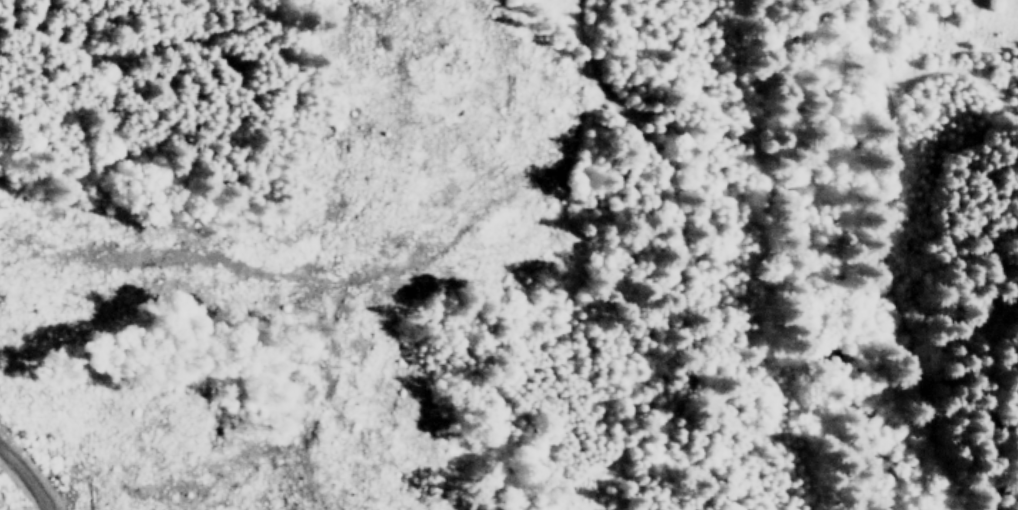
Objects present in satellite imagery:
road: (888, 259)

